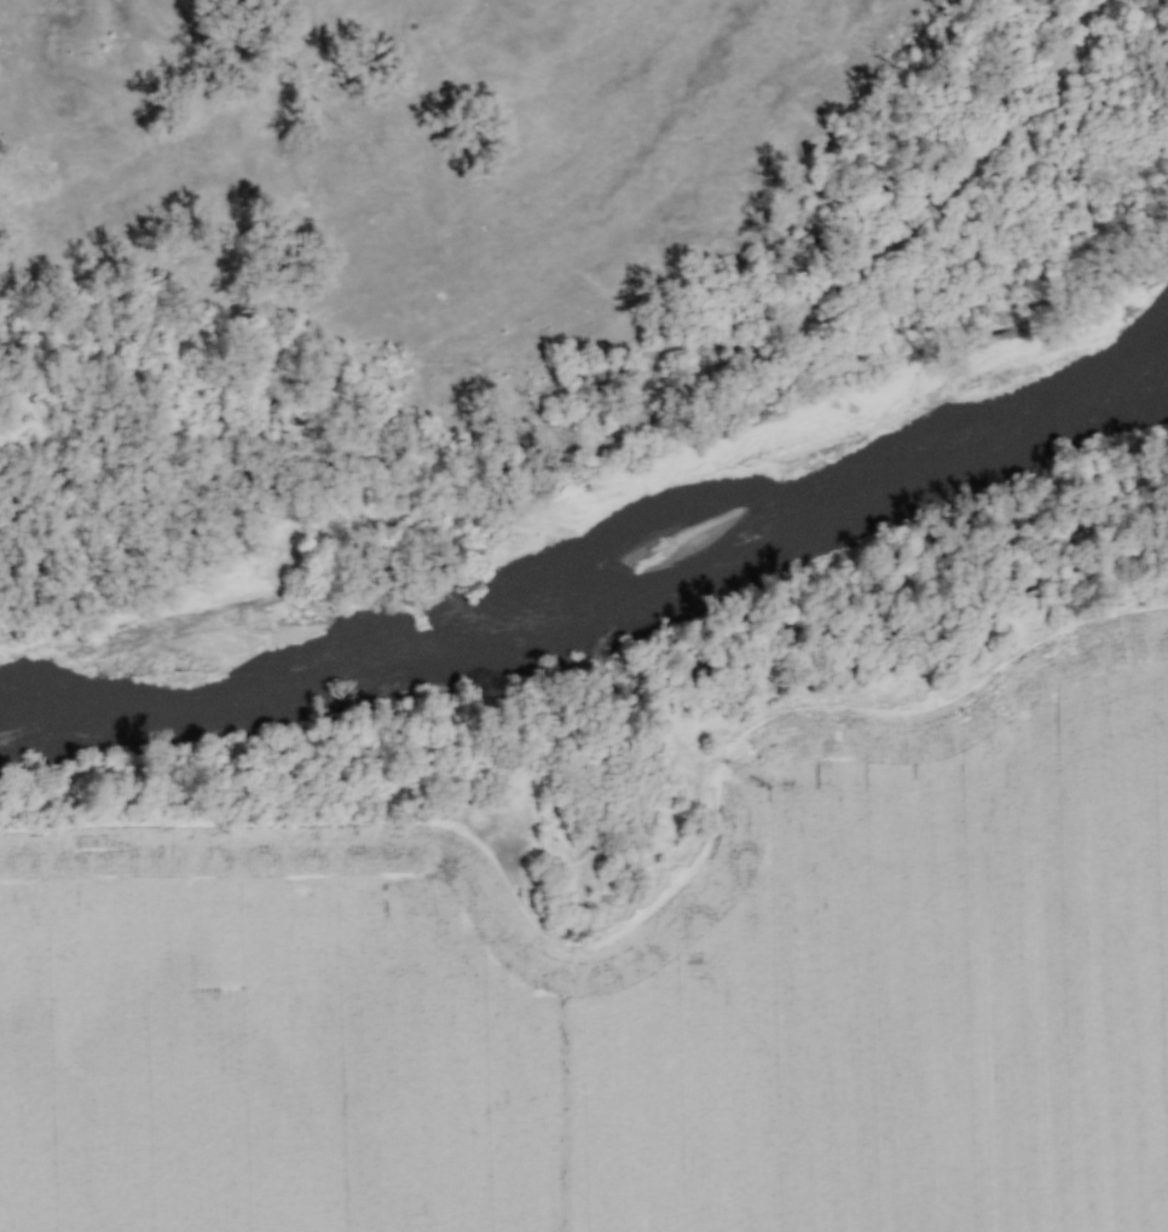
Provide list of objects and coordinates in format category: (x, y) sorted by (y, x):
river: (591, 591)

